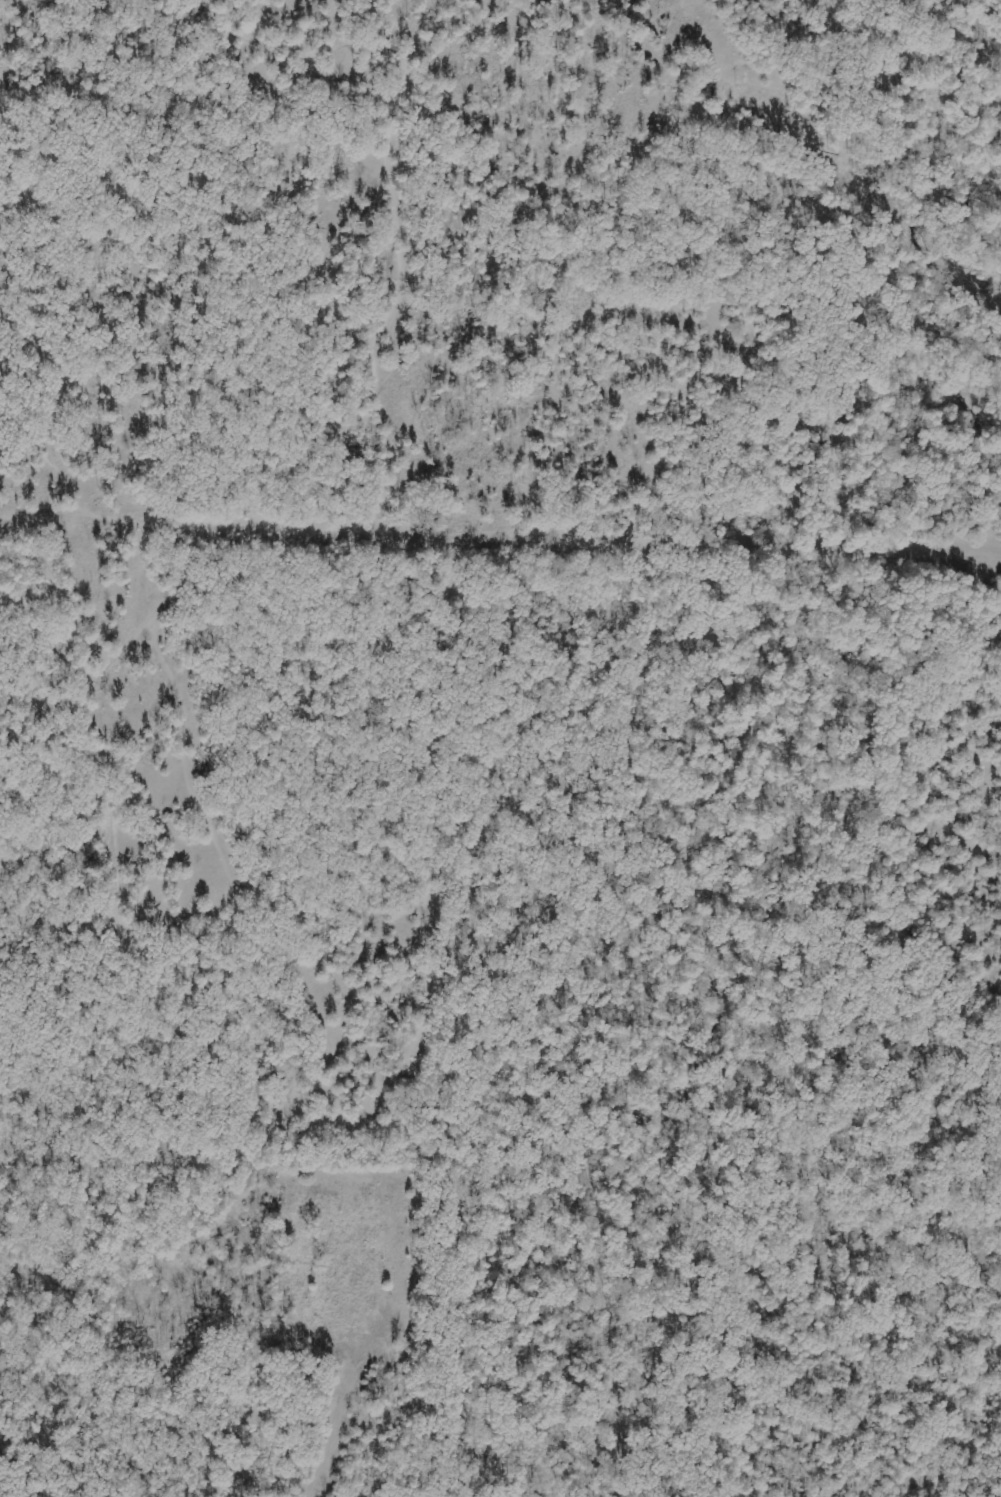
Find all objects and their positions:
road: (408, 48)
road: (287, 67)
road: (84, 351)
road: (391, 374)
park: (409, 471)
road: (98, 515)
road: (162, 611)
road: (36, 742)
road: (168, 962)

